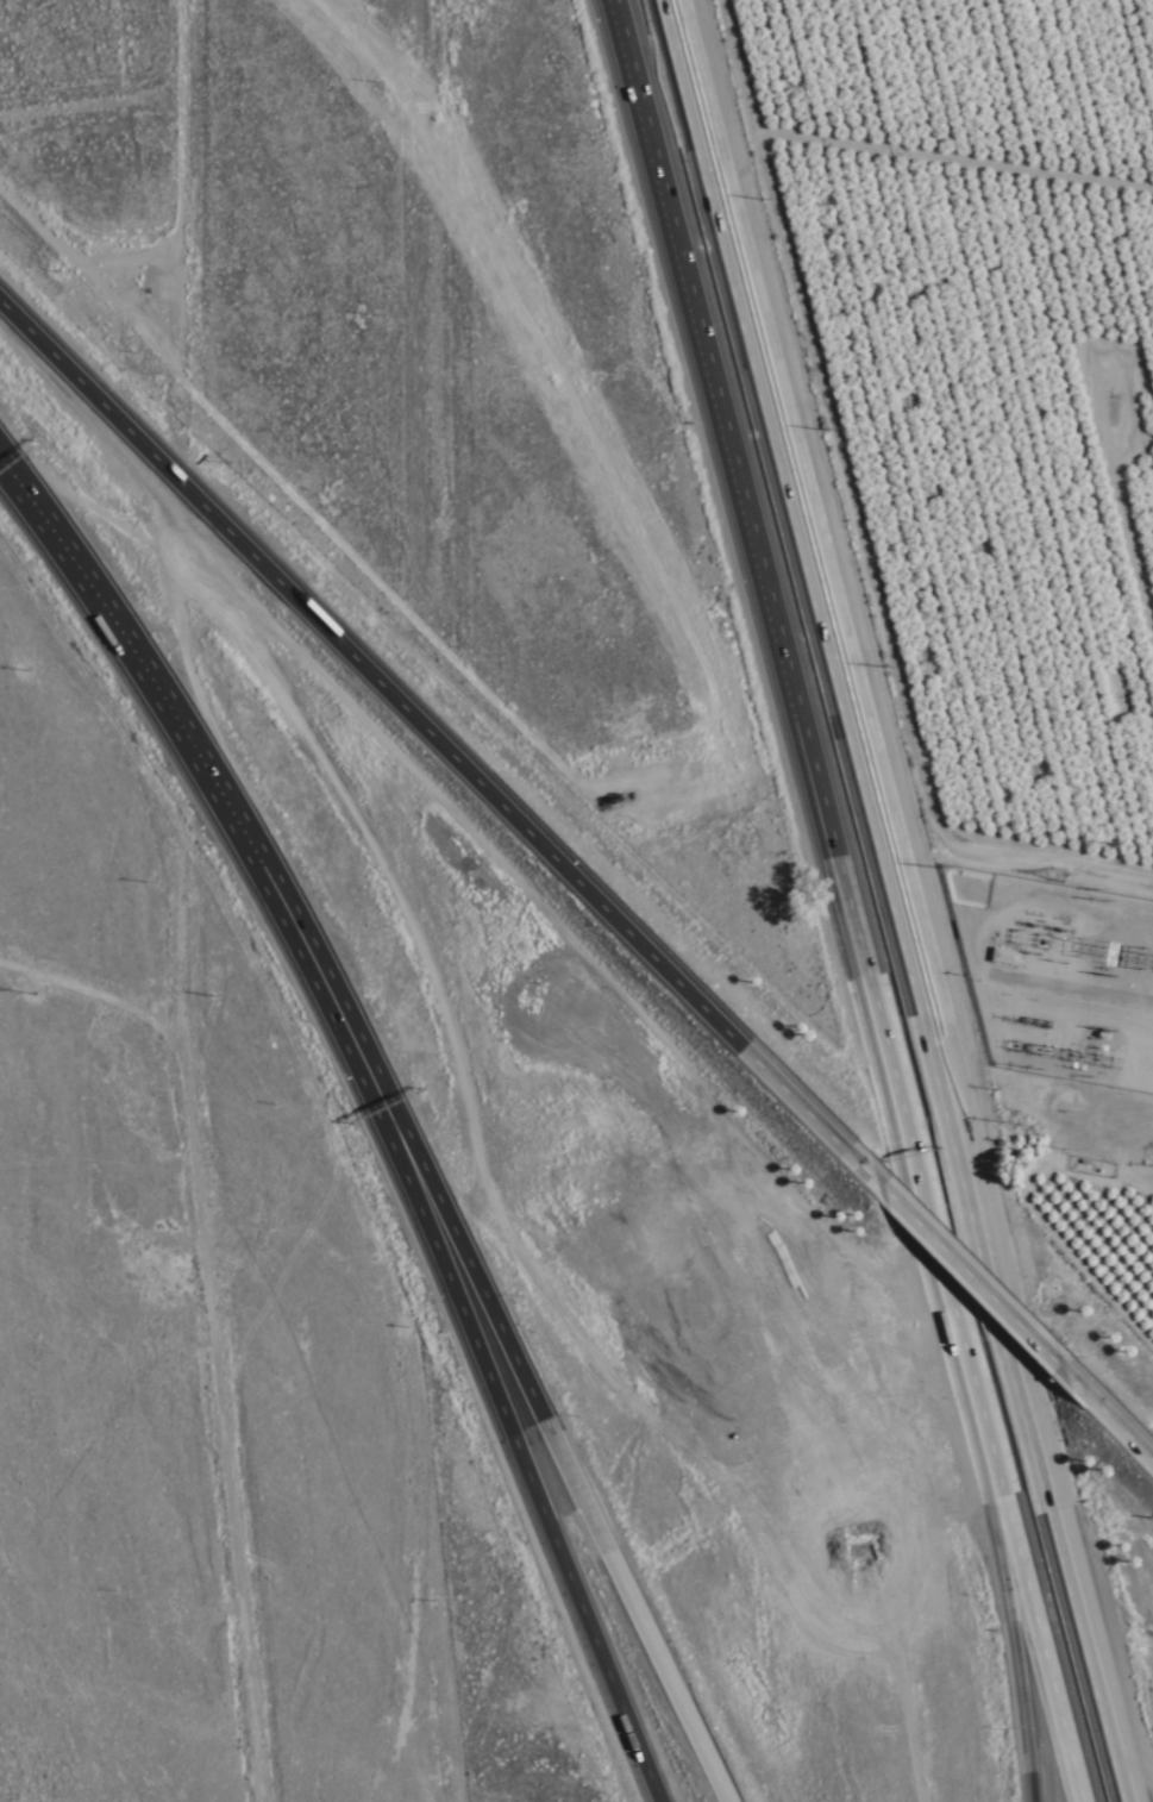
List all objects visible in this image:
road: (1084, 165)
road: (389, 246)
road: (195, 254)
building: (732, 258)
building: (751, 329)
crop: (963, 369)
road: (785, 676)
road: (401, 701)
road: (195, 751)
road: (898, 901)
building: (1004, 957)
building: (305, 975)
road: (104, 1001)
road: (1115, 1089)
road: (978, 1277)
road: (551, 1428)
road: (510, 1431)
road: (224, 1435)
road: (1002, 1576)
road: (1022, 1577)
building: (1019, 1651)

